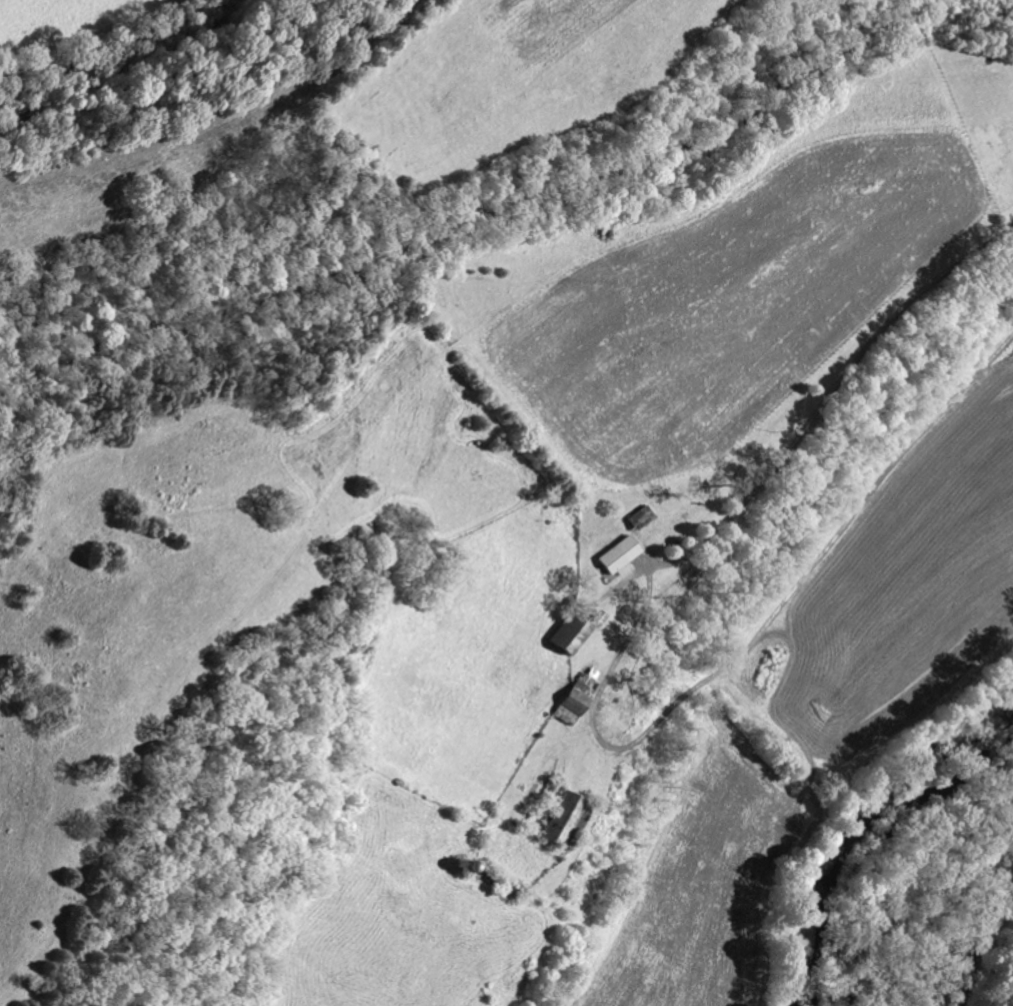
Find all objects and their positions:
building: (645, 516)
building: (624, 553)
building: (580, 630)
road: (598, 692)
building: (581, 696)
building: (569, 816)

